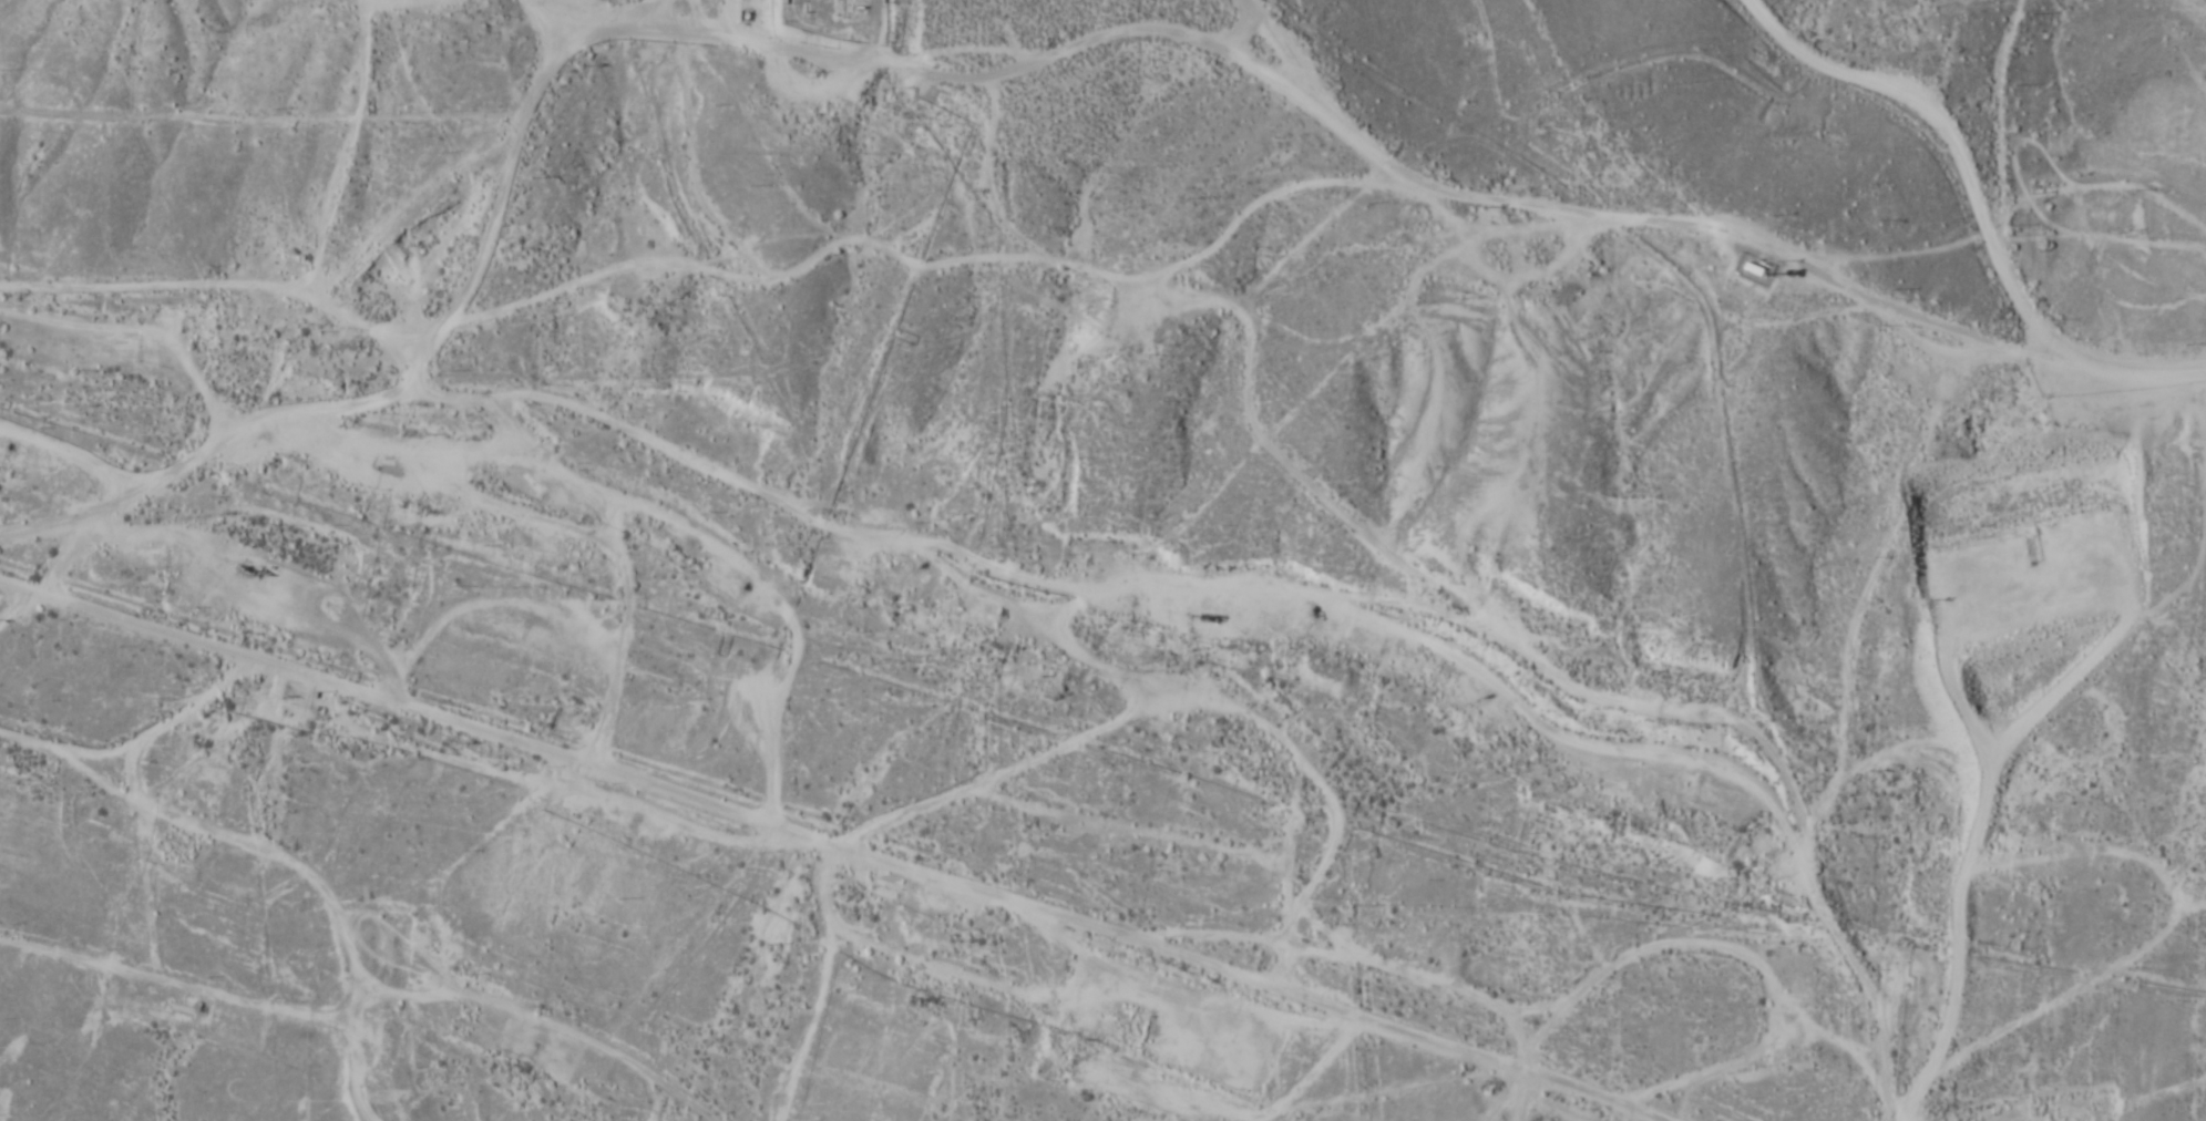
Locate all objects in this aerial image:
building: (828, 7)
road: (535, 16)
road: (1935, 115)
road: (1635, 234)
building: (1754, 269)
road: (355, 336)
road: (1546, 1103)

